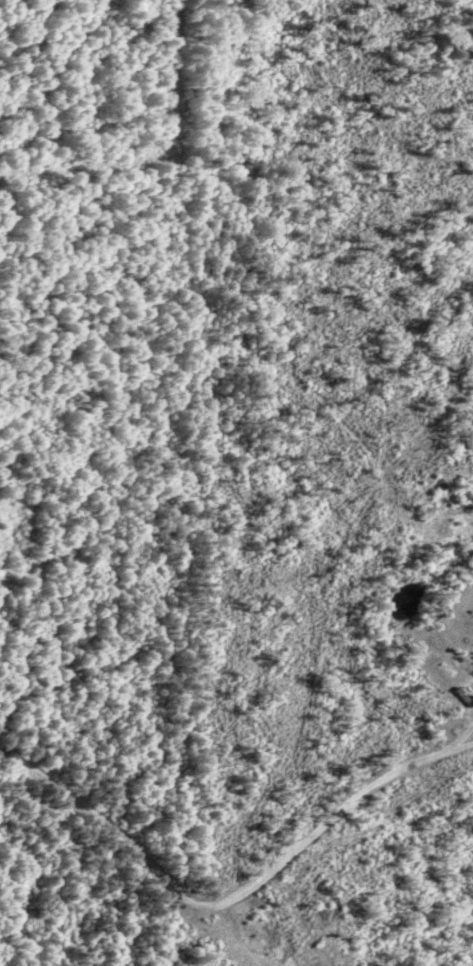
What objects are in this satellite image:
road: (231, 889)
road: (197, 936)

